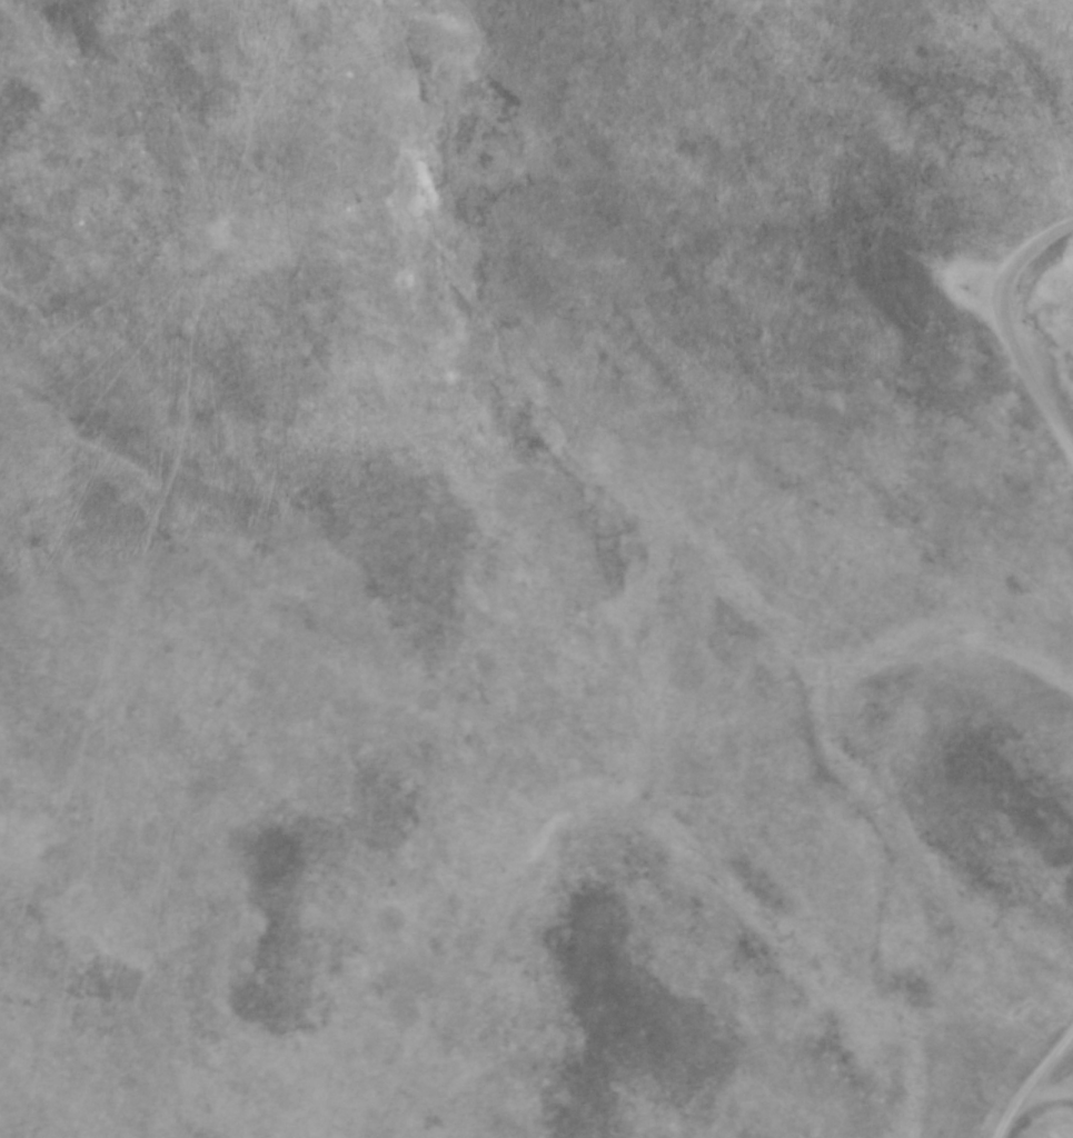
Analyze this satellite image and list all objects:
road: (1012, 327)
road: (1031, 1081)

